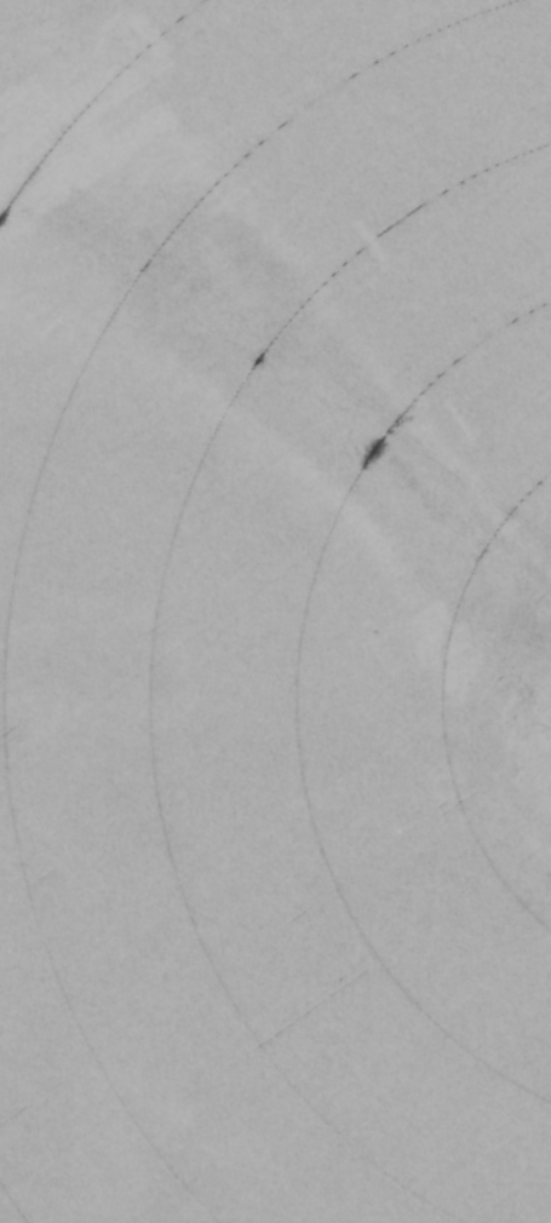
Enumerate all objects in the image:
crop: (275, 611)

